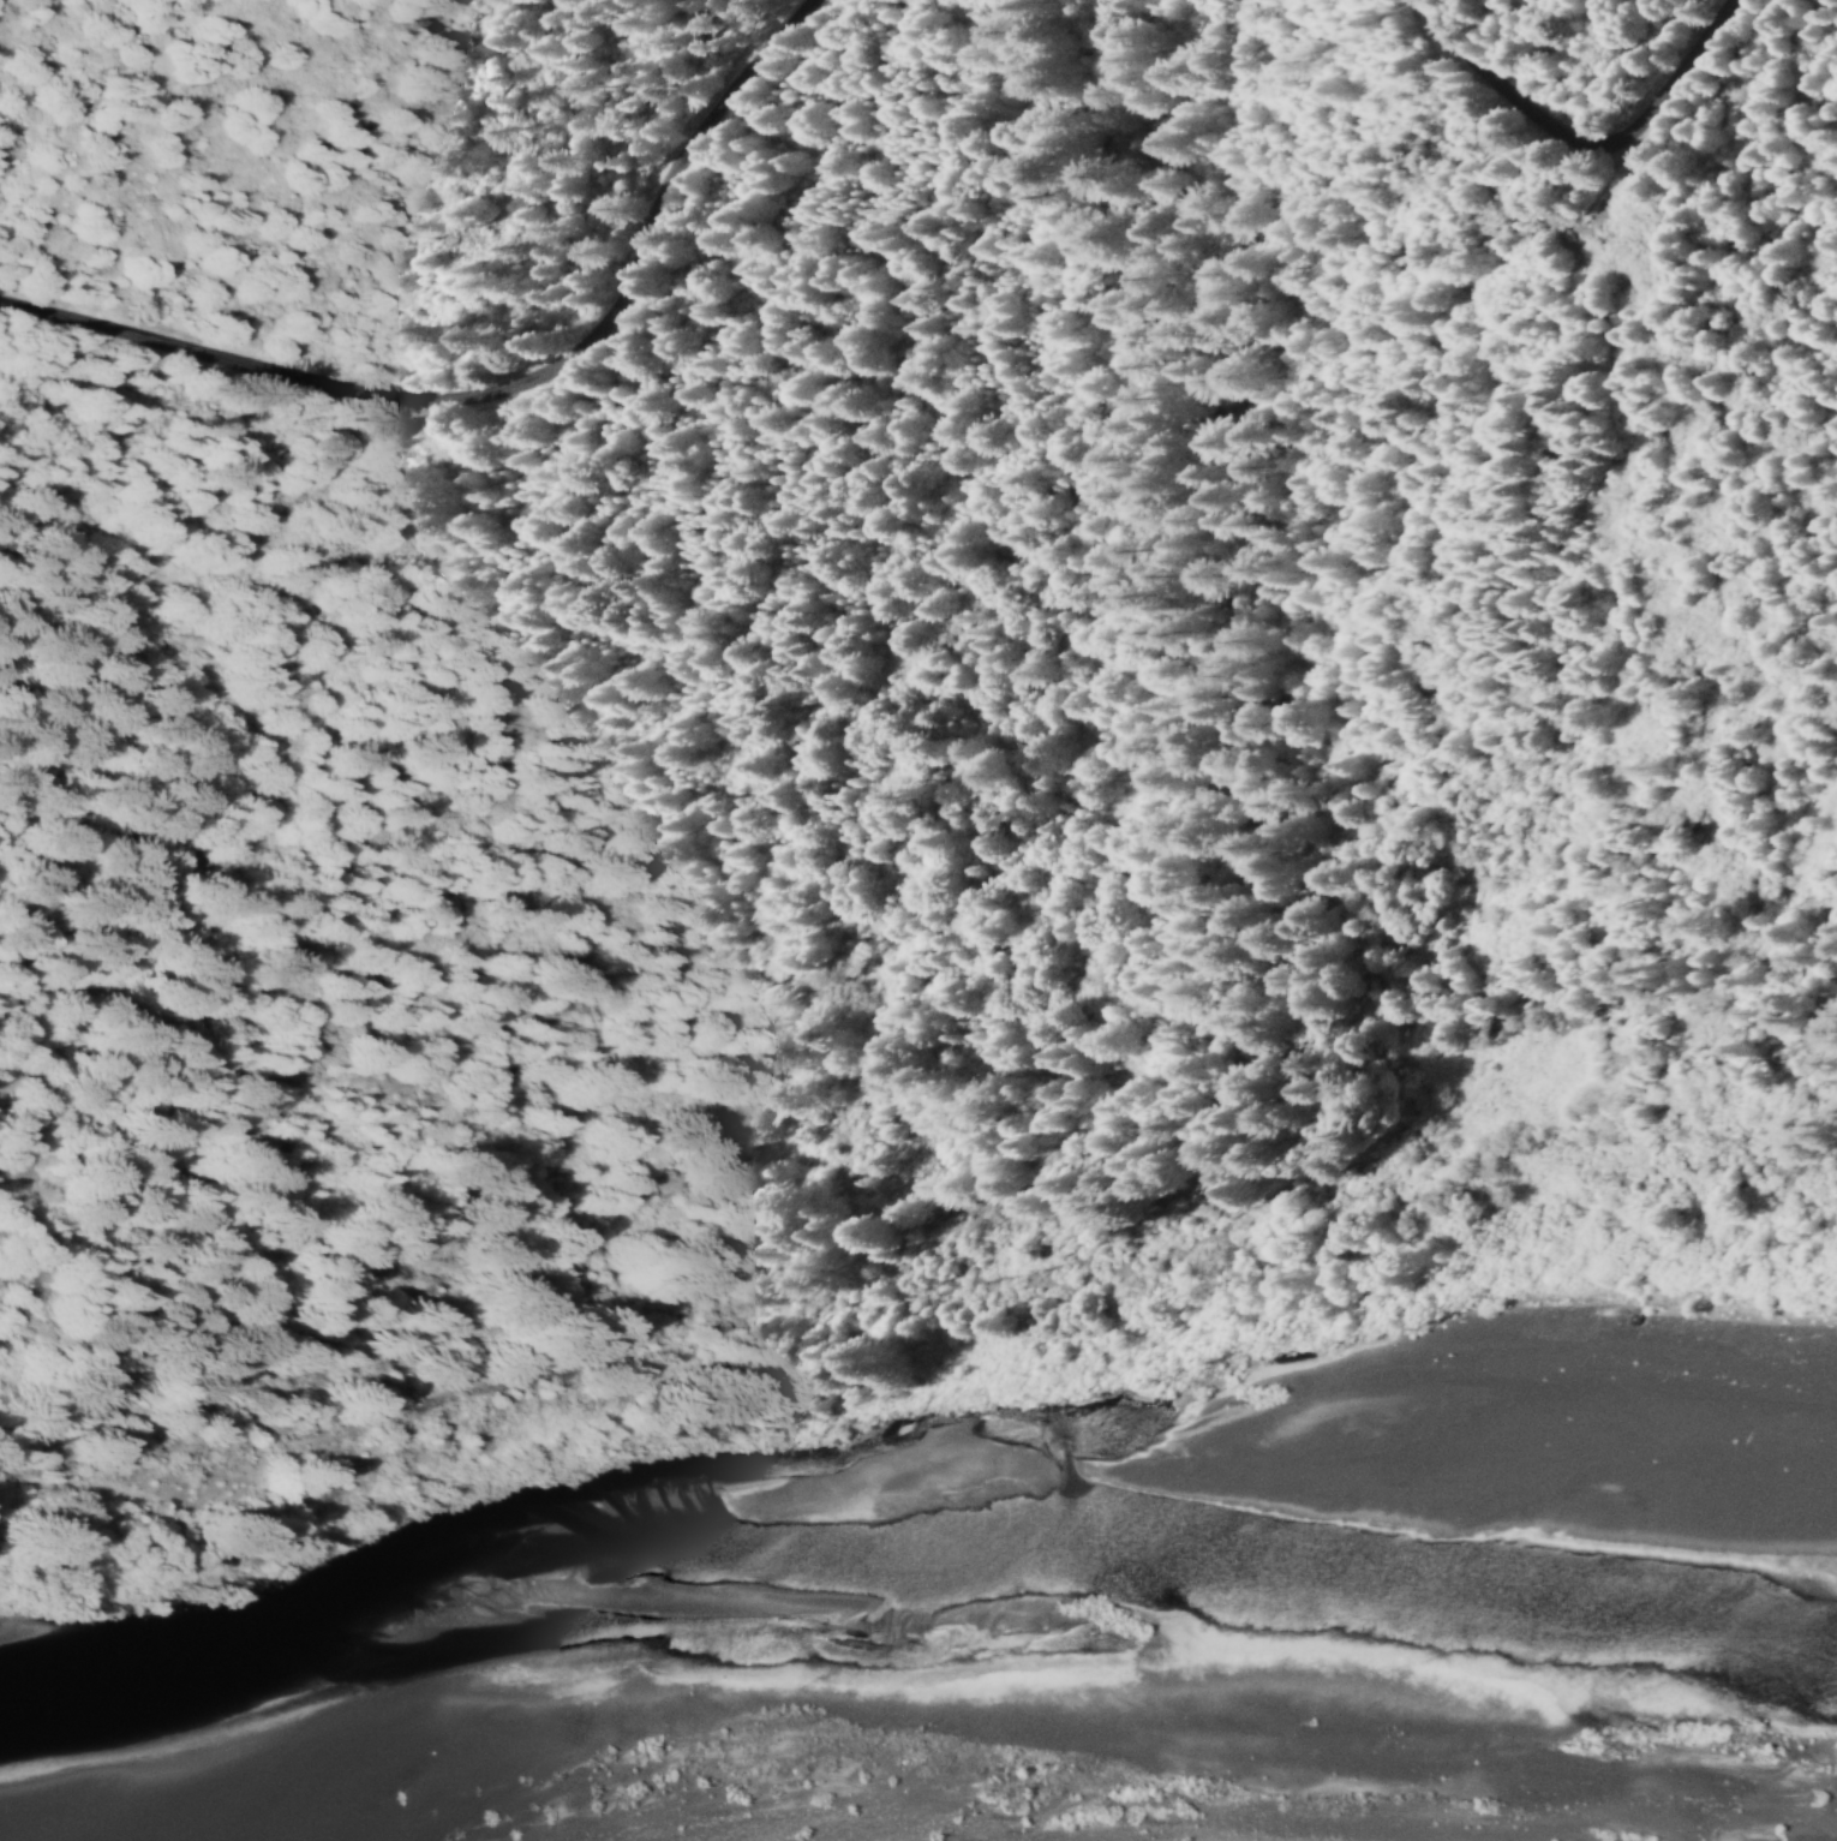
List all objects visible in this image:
road: (1551, 221)
road: (508, 395)
railway: (915, 1307)
river: (1655, 1356)
river: (776, 1612)

